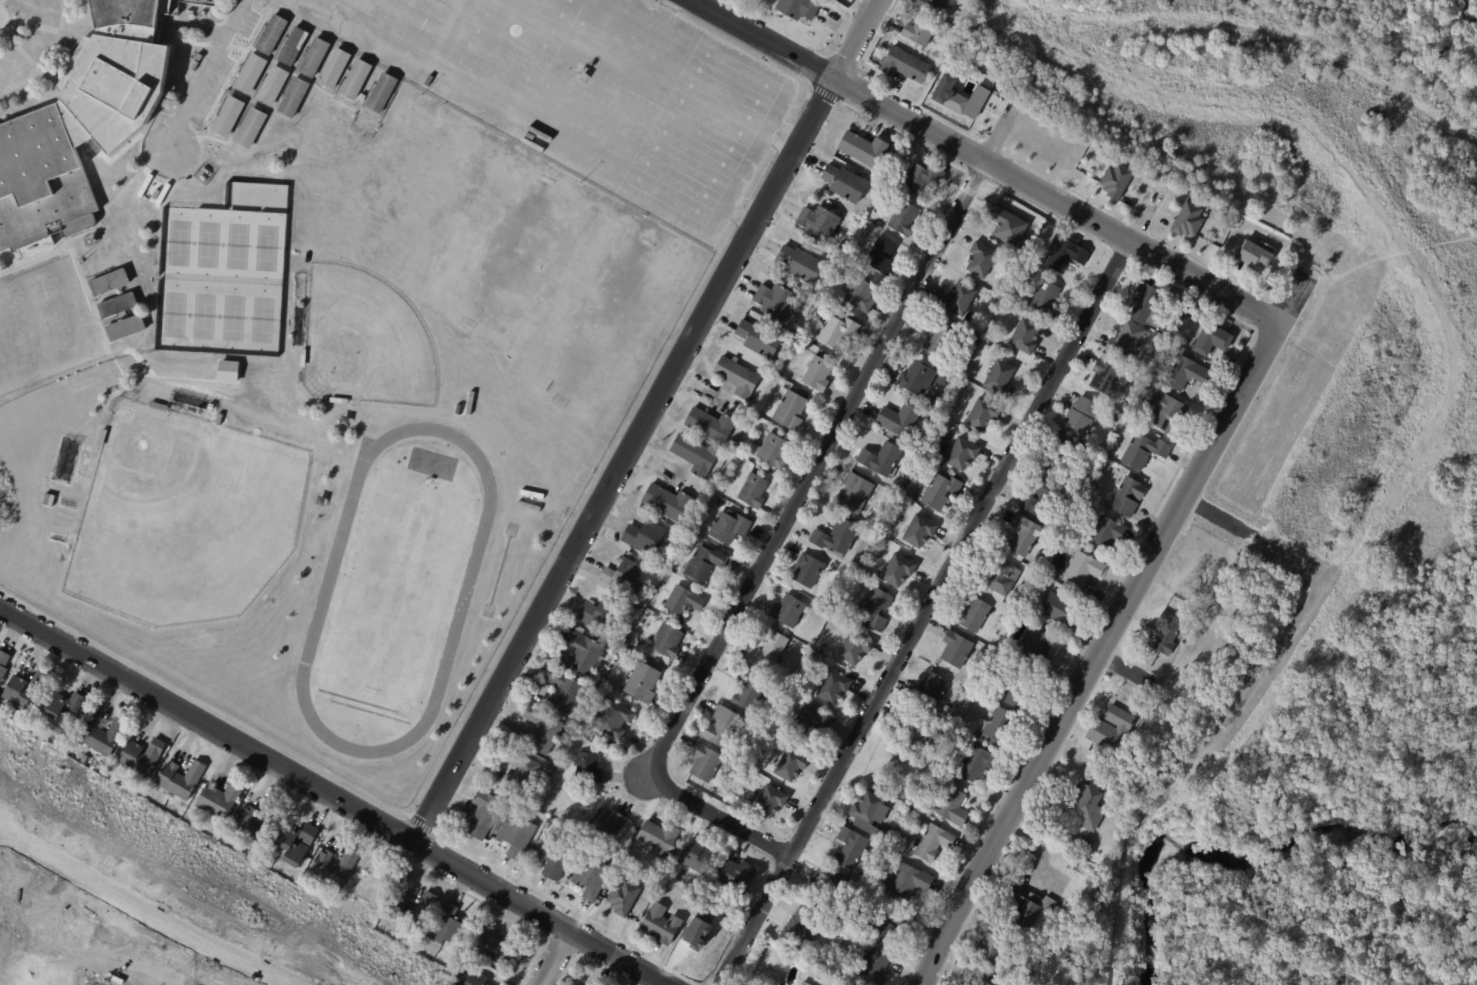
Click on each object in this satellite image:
road: (0, 0)
road: (459, 1)
road: (174, 5)
building: (937, 6)
building: (799, 8)
road: (888, 13)
road: (4, 18)
road: (7, 18)
road: (412, 18)
road: (192, 20)
road: (43, 27)
road: (196, 28)
building: (921, 31)
road: (212, 34)
building: (271, 34)
road: (363, 34)
road: (445, 34)
road: (762, 39)
road: (854, 39)
road: (180, 41)
road: (218, 45)
building: (292, 46)
road: (46, 56)
building: (200, 57)
building: (313, 57)
road: (27, 58)
road: (296, 65)
building: (907, 65)
building: (333, 67)
road: (232, 69)
road: (204, 73)
building: (249, 73)
building: (869, 77)
building: (355, 78)
road: (339, 79)
building: (271, 85)
parking lot: (588, 90)
road: (236, 92)
building: (380, 92)
road: (326, 93)
road: (824, 93)
road: (251, 94)
road: (367, 96)
building: (293, 97)
building: (958, 97)
road: (158, 103)
building: (227, 115)
building: (80, 125)
building: (249, 127)
road: (489, 127)
road: (901, 136)
road: (94, 146)
building: (862, 149)
road: (113, 156)
road: (973, 176)
building: (917, 177)
building: (1116, 181)
park: (405, 182)
building: (843, 183)
road: (119, 192)
road: (1054, 202)
road: (109, 214)
road: (1047, 214)
road: (1115, 214)
building: (901, 216)
road: (1090, 220)
building: (816, 221)
building: (1189, 221)
building: (1007, 226)
building: (862, 230)
road: (85, 232)
road: (1161, 240)
road: (58, 241)
park: (178, 242)
park: (207, 244)
building: (836, 245)
park: (236, 246)
park: (265, 247)
road: (5, 251)
park: (508, 251)
building: (1255, 253)
building: (1064, 254)
building: (880, 255)
building: (850, 257)
road: (1119, 257)
building: (980, 258)
road: (35, 260)
road: (7, 261)
building: (800, 262)
road: (1165, 263)
road: (98, 274)
building: (108, 281)
building: (858, 293)
building: (958, 298)
building: (1044, 298)
building: (774, 300)
building: (1184, 301)
building: (1142, 302)
building: (116, 305)
dam: (1435, 307)
park: (174, 314)
park: (203, 316)
road: (115, 318)
park: (232, 318)
park: (261, 319)
road: (35, 322)
parking lot: (45, 323)
road: (81, 324)
building: (802, 325)
building: (125, 327)
building: (836, 329)
building: (932, 335)
building: (1024, 335)
building: (289, 336)
building: (758, 338)
building: (1210, 338)
park: (363, 340)
park: (592, 340)
building: (1125, 341)
building: (1161, 343)
building: (302, 357)
road: (8, 358)
building: (227, 371)
building: (1183, 371)
building: (816, 373)
road: (140, 374)
road: (651, 376)
building: (736, 376)
building: (915, 376)
building: (1105, 377)
building: (999, 378)
building: (772, 386)
building: (337, 400)
building: (469, 402)
building: (157, 405)
building: (457, 409)
building: (789, 409)
building: (1167, 412)
building: (982, 414)
building: (1081, 415)
building: (896, 419)
building: (1111, 420)
building: (709, 424)
building: (100, 437)
building: (738, 443)
building: (1142, 449)
building: (770, 450)
building: (962, 453)
building: (693, 455)
building: (1055, 457)
building: (879, 458)
road: (621, 459)
building: (1096, 459)
building: (730, 460)
building: (717, 485)
building: (907, 486)
building: (938, 490)
building: (752, 491)
building: (853, 493)
building: (530, 494)
building: (1124, 494)
building: (1039, 497)
building: (666, 502)
building: (527, 505)
road: (788, 511)
park: (182, 517)
road: (1220, 518)
building: (728, 526)
building: (918, 530)
building: (1103, 531)
building: (1021, 534)
building: (643, 536)
building: (835, 536)
building: (1038, 554)
building: (704, 562)
building: (1082, 568)
building: (804, 569)
building: (897, 570)
building: (1029, 571)
building: (997, 575)
building: (622, 576)
road: (938, 583)
road: (1107, 595)
building: (682, 601)
building: (1061, 607)
building: (874, 609)
building: (786, 610)
building: (1189, 610)
building: (599, 613)
building: (972, 614)
road: (1111, 624)
track: (314, 626)
building: (1164, 634)
building: (665, 641)
building: (853, 647)
building: (955, 649)
building: (1034, 649)
building: (612, 650)
building: (766, 650)
building: (578, 652)
building: (653, 659)
building: (3, 663)
building: (599, 669)
road: (1126, 669)
building: (599, 680)
building: (641, 682)
building: (832, 686)
building: (928, 688)
building: (746, 689)
building: (27, 691)
building: (561, 691)
building: (1014, 692)
road: (204, 701)
building: (64, 711)
building: (609, 718)
building: (583, 721)
building: (808, 722)
road: (205, 725)
building: (718, 726)
building: (994, 726)
building: (538, 729)
building: (1110, 729)
building: (911, 730)
building: (104, 735)
building: (781, 739)
building: (554, 748)
building: (932, 755)
building: (143, 756)
building: (703, 762)
building: (974, 763)
building: (789, 764)
building: (562, 765)
building: (586, 768)
building: (517, 771)
building: (182, 778)
building: (220, 800)
building: (769, 802)
building: (946, 803)
building: (1082, 804)
building: (865, 808)
building: (578, 812)
building: (480, 813)
building: (258, 823)
building: (604, 823)
road: (432, 835)
building: (884, 835)
building: (514, 836)
building: (657, 837)
building: (296, 842)
building: (1085, 842)
building: (932, 843)
building: (848, 848)
building: (694, 857)
building: (552, 859)
building: (337, 866)
building: (735, 874)
building: (590, 878)
building: (905, 880)
building: (1099, 896)
building: (622, 897)
building: (685, 900)
road: (480, 901)
road: (564, 908)
road: (146, 911)
building: (410, 912)
road: (537, 914)
building: (1039, 922)
building: (659, 923)
building: (887, 923)
building: (450, 927)
building: (798, 930)
building: (494, 947)
road: (560, 947)
building: (443, 948)
building: (991, 949)
building: (840, 953)
road: (553, 958)
road: (588, 961)
building: (871, 968)
building: (470, 977)
building: (976, 981)
road: (707, 982)
road: (292, 983)
building: (803, 983)

